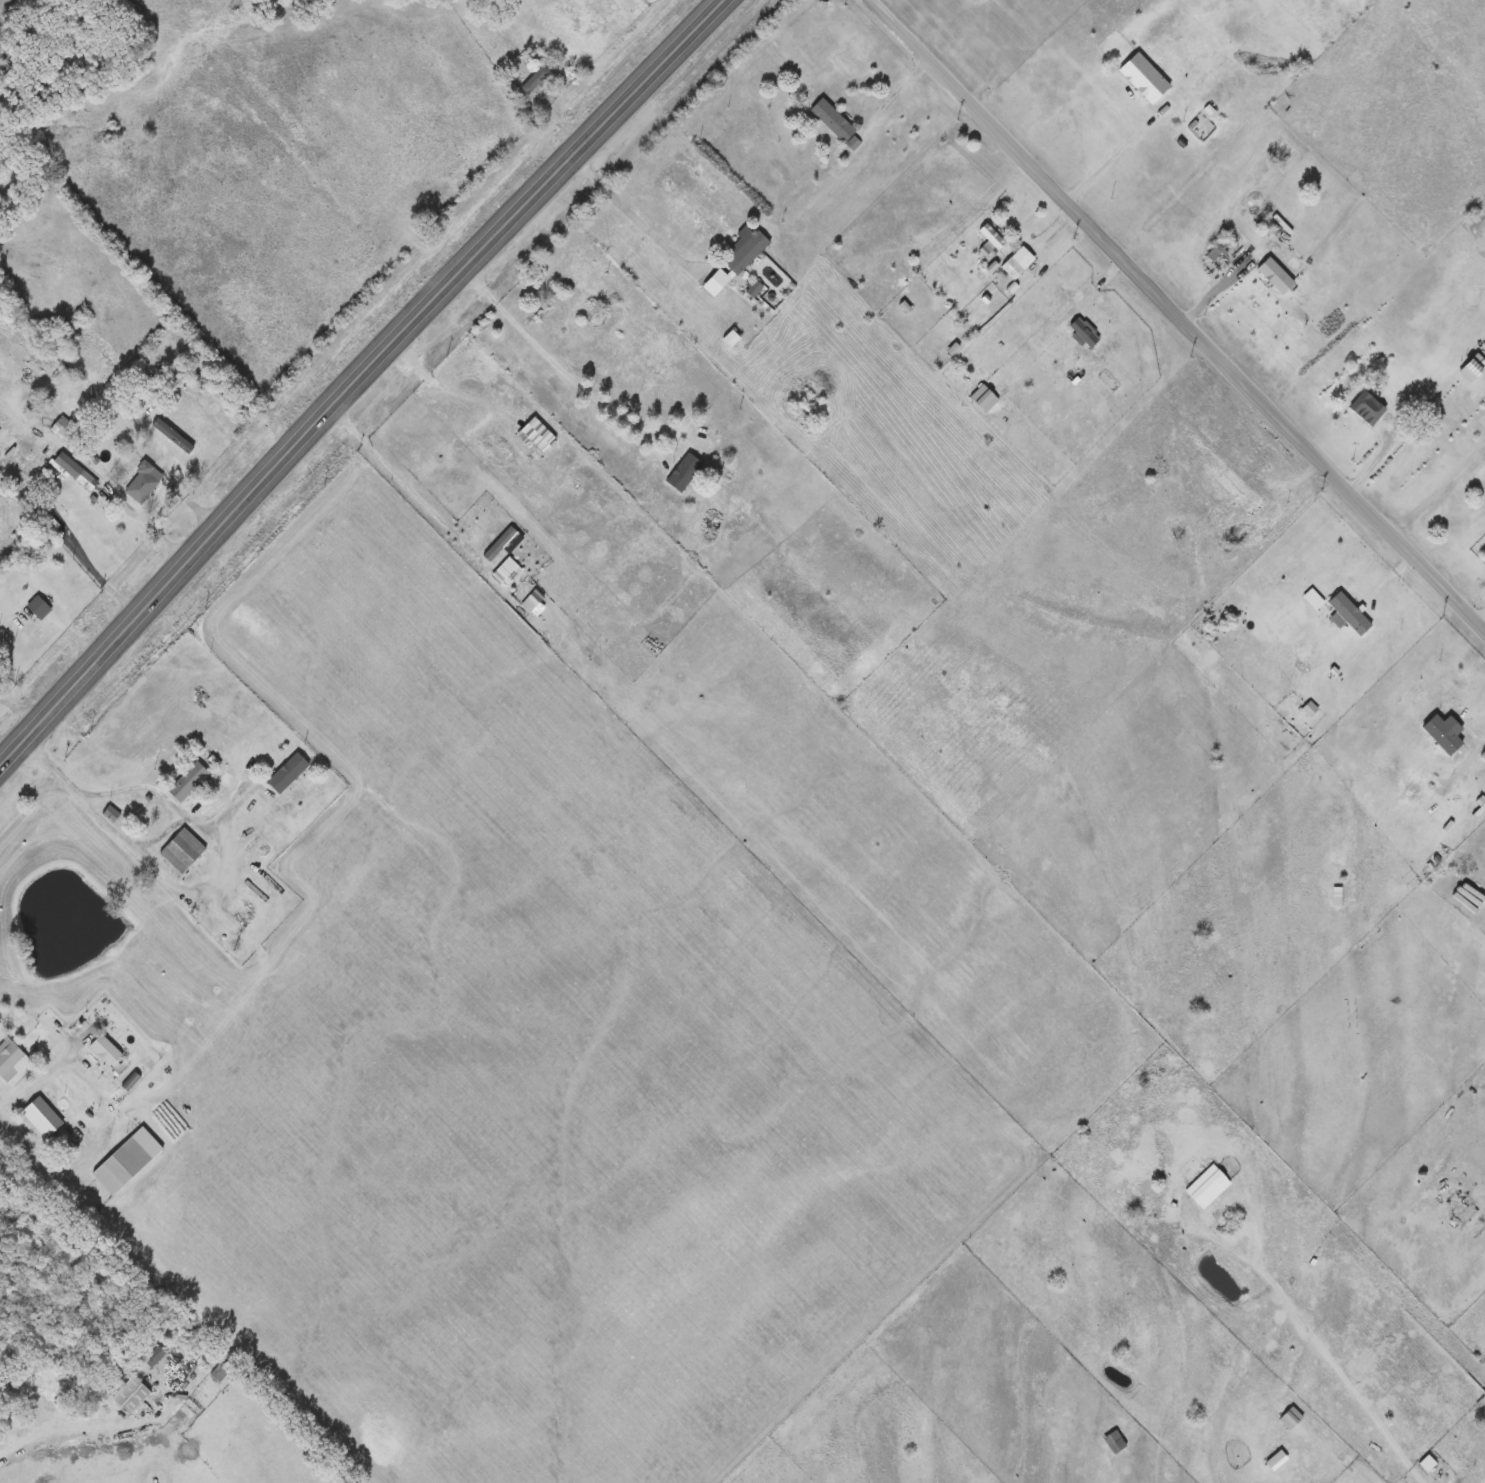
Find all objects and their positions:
building: (535, 81)
building: (831, 121)
road: (561, 122)
road: (1112, 159)
road: (637, 215)
building: (744, 251)
building: (1274, 275)
building: (754, 289)
road: (1176, 312)
road: (1410, 362)
road: (376, 363)
road: (569, 373)
building: (1366, 408)
road: (1423, 426)
building: (65, 430)
building: (685, 466)
building: (77, 471)
road: (398, 473)
building: (145, 482)
road: (198, 509)
road: (147, 527)
road: (80, 555)
building: (40, 607)
building: (1349, 614)
road: (54, 630)
road: (18, 713)
road: (15, 750)
building: (290, 772)
building: (191, 781)
road: (226, 804)
building: (111, 813)
road: (96, 814)
road: (189, 818)
building: (183, 850)
building: (108, 1050)
building: (14, 1060)
road: (38, 1076)
building: (45, 1117)
road: (41, 1157)
building: (131, 1160)
road: (1309, 1334)
building: (156, 1355)
building: (132, 1395)
building: (1113, 1442)
road: (1336, 1456)

